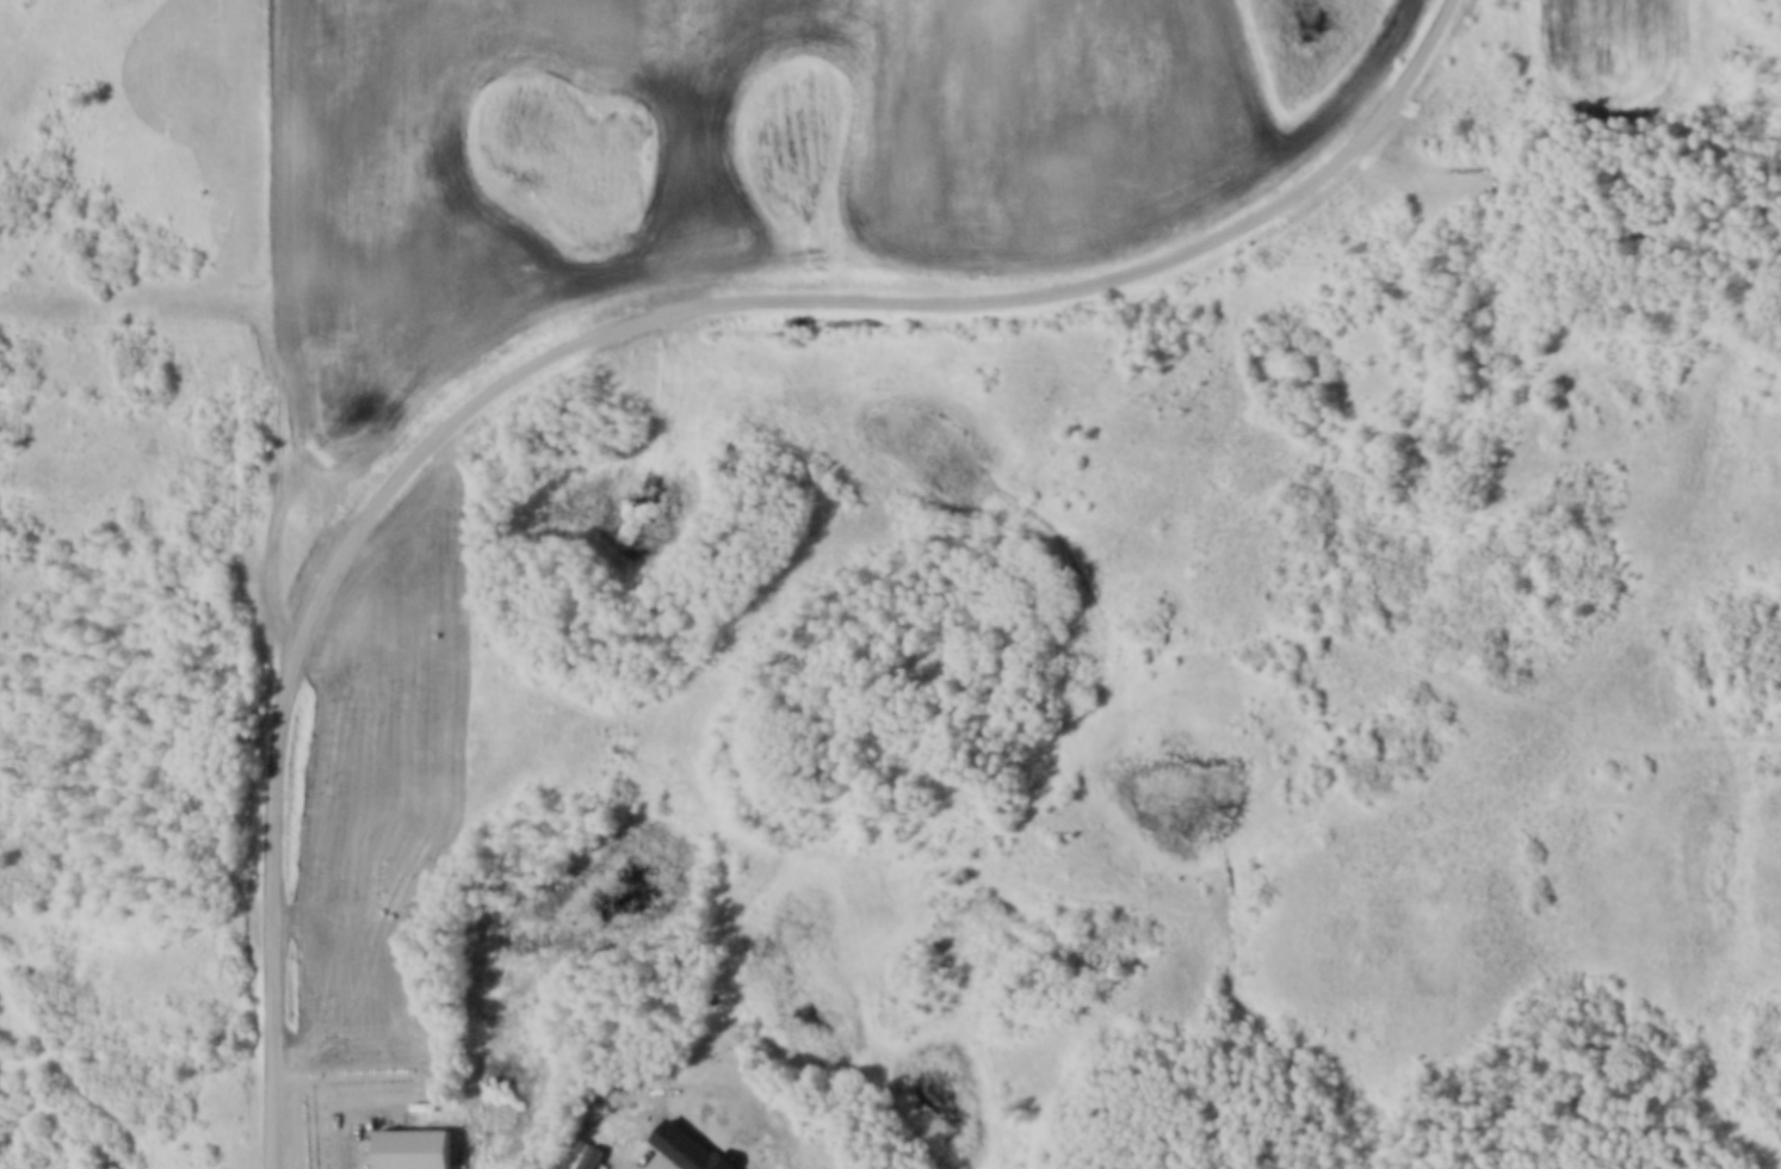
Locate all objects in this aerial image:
road: (862, 290)
road: (274, 346)
road: (273, 898)
building: (587, 1155)

